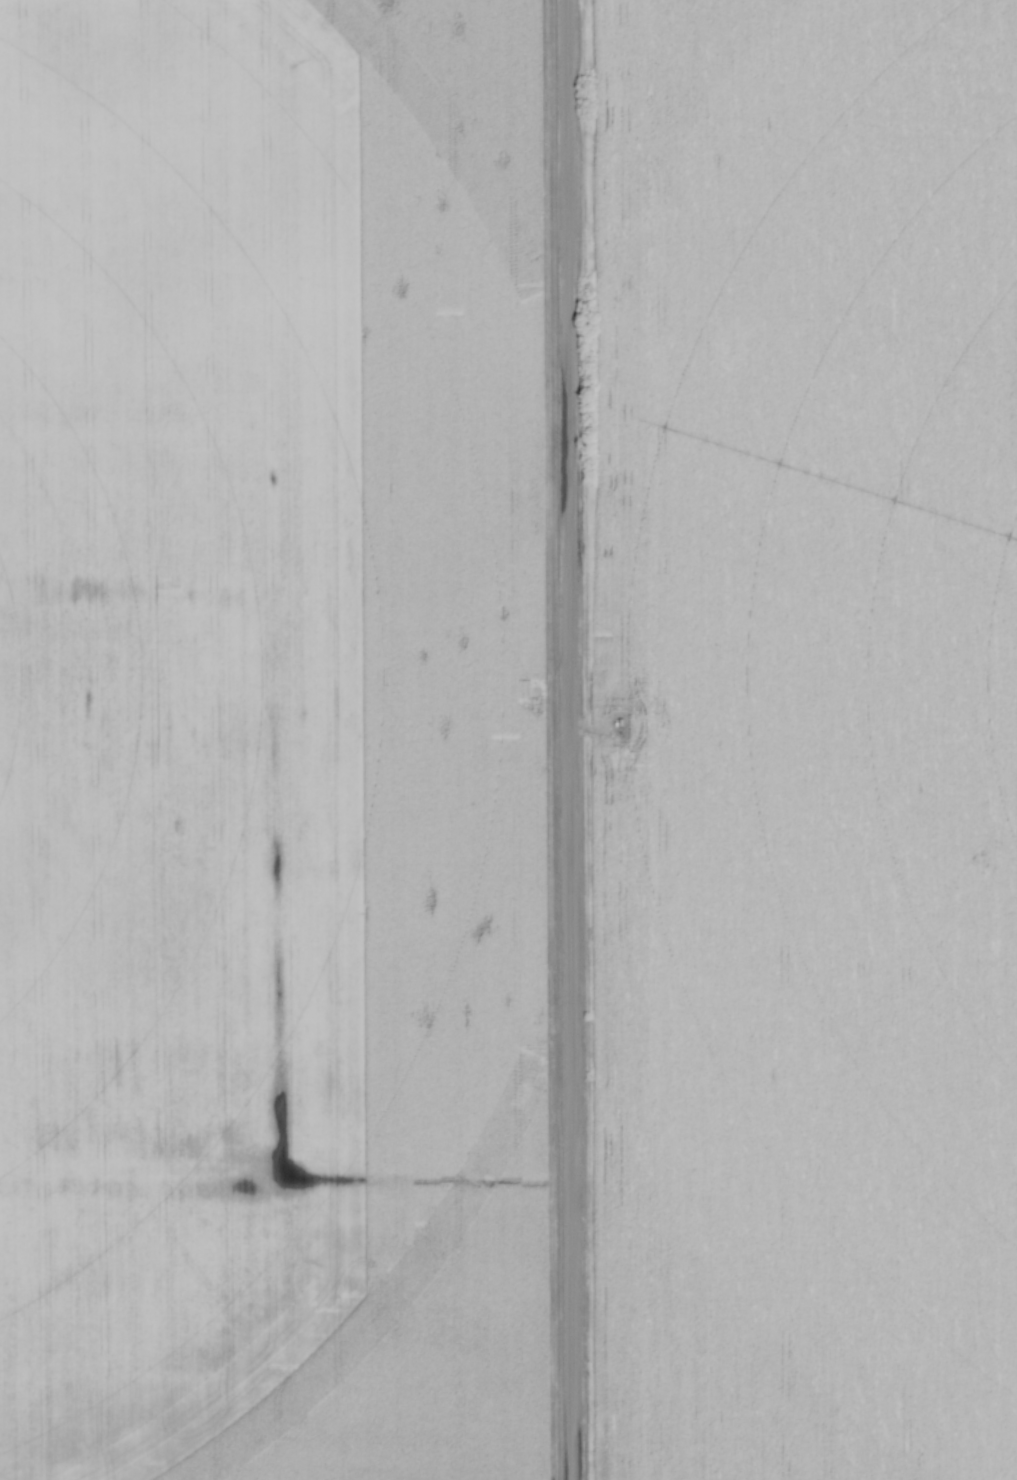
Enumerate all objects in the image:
road: (569, 739)

